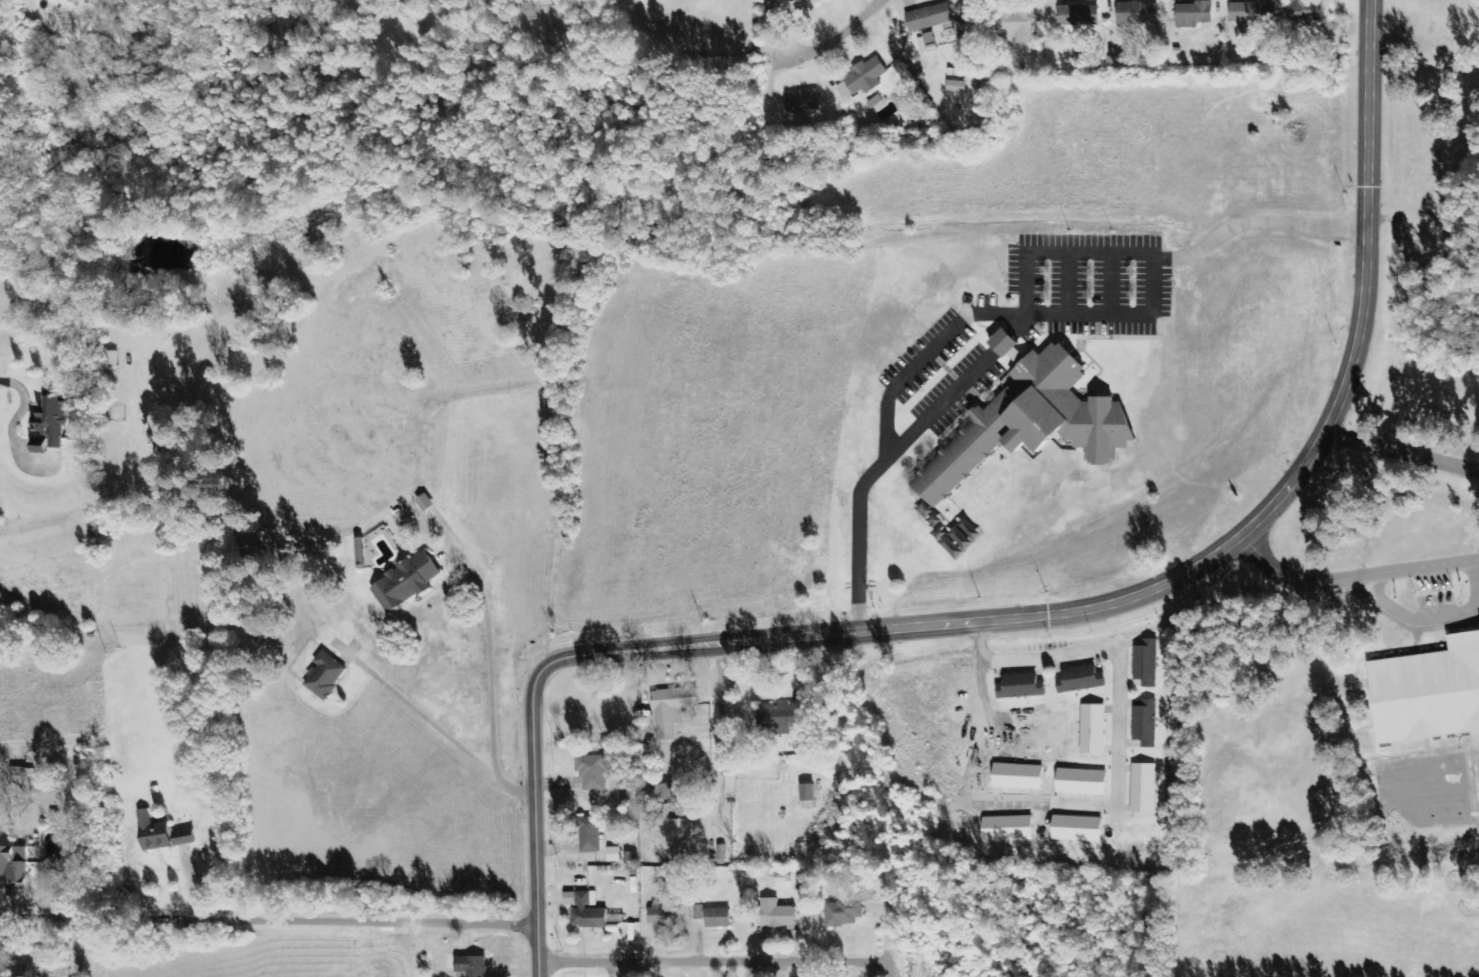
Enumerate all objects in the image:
building: (797, 5)
building: (1305, 12)
building: (1252, 13)
building: (1137, 14)
building: (1193, 15)
building: (1077, 16)
building: (928, 18)
building: (1017, 26)
road: (817, 52)
building: (862, 79)
building: (956, 87)
building: (802, 102)
road: (1067, 284)
road: (1111, 284)
road: (1023, 314)
road: (1118, 314)
building: (1005, 345)
road: (962, 386)
building: (1030, 423)
road: (1400, 455)
building: (424, 502)
building: (956, 537)
road: (1351, 579)
road: (1159, 580)
building: (405, 582)
building: (1145, 663)
building: (324, 675)
building: (1080, 679)
building: (1021, 686)
building: (1428, 692)
building: (671, 711)
building: (780, 717)
building: (1145, 724)
building: (1092, 729)
building: (591, 772)
building: (1081, 782)
building: (1143, 788)
building: (672, 791)
building: (807, 797)
building: (1077, 829)
building: (153, 832)
building: (589, 835)
building: (680, 836)
building: (183, 838)
road: (535, 840)
building: (613, 855)
building: (13, 869)
building: (583, 910)
road: (269, 913)
building: (843, 913)
building: (777, 915)
building: (665, 916)
building: (714, 917)
road: (76, 943)
road: (729, 953)

